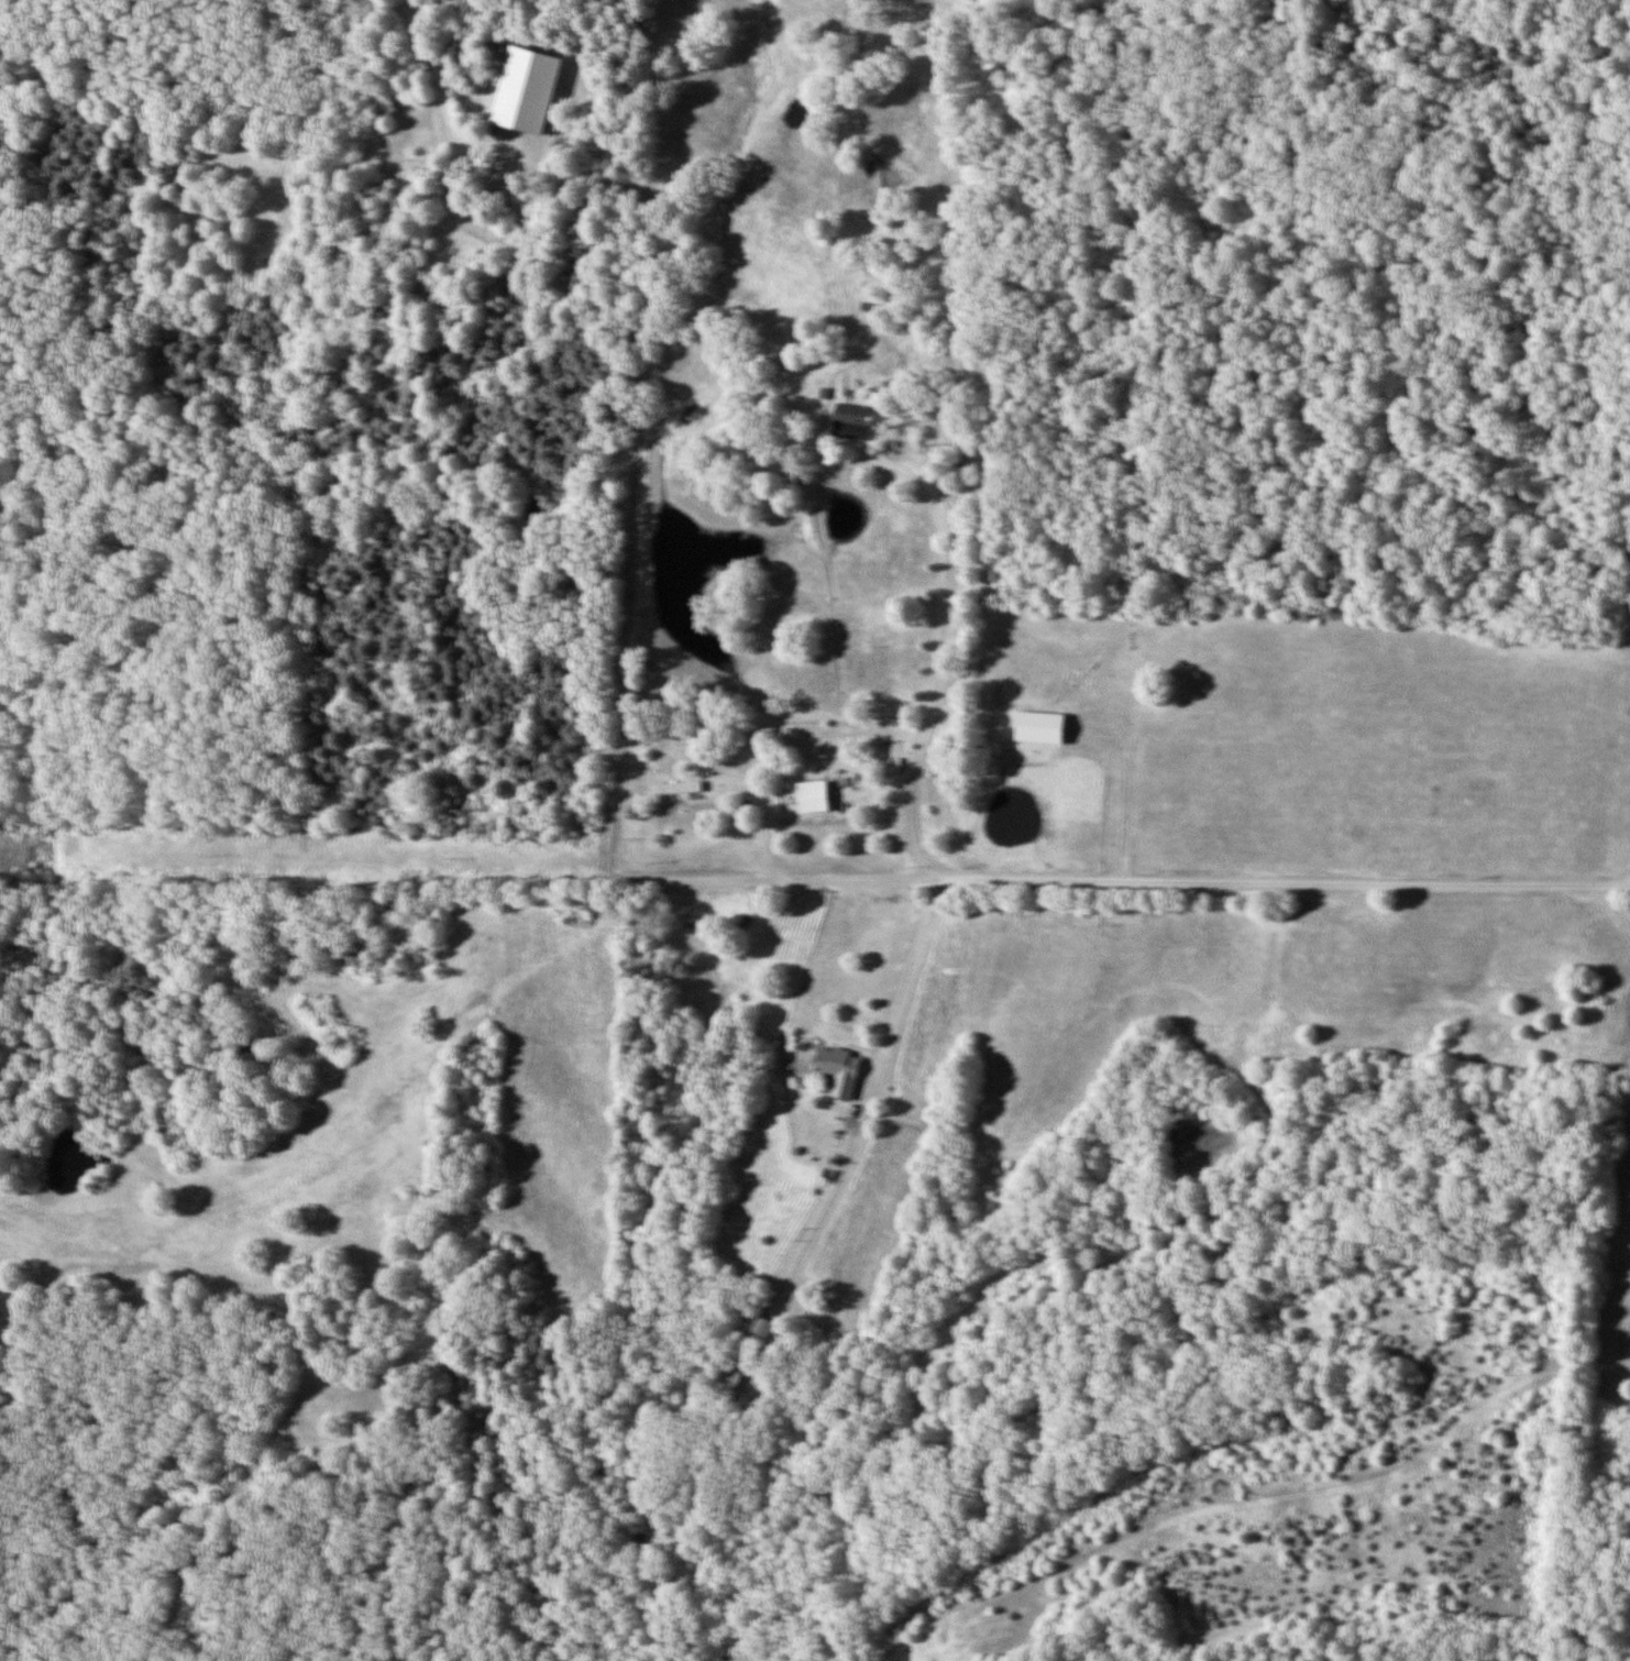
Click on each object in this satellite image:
building: (852, 420)
building: (676, 788)
building: (813, 795)
road: (1051, 880)
building: (591, 903)
building: (839, 1070)
building: (762, 1327)
building: (730, 1377)

